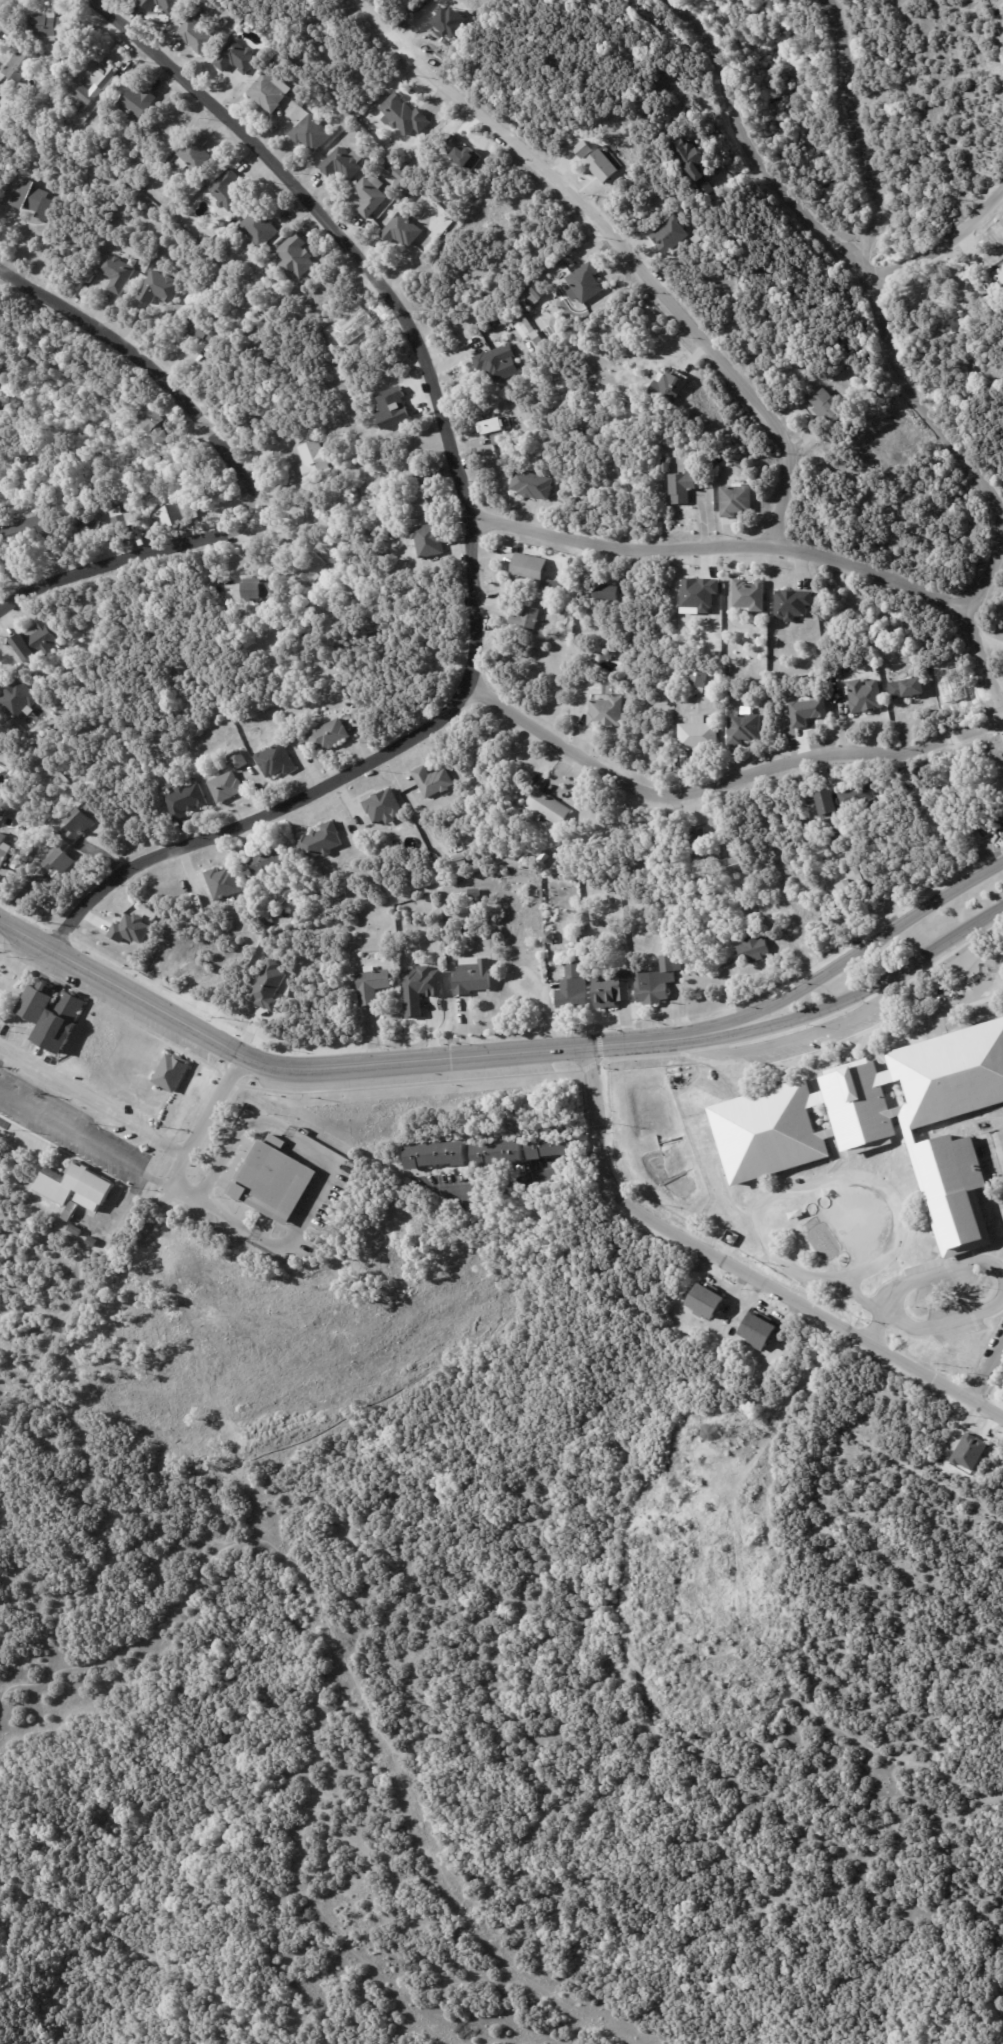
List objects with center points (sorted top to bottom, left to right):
building: (164, 4)
road: (3, 5)
building: (226, 21)
building: (51, 26)
building: (199, 35)
building: (240, 57)
building: (25, 63)
building: (59, 69)
building: (109, 83)
building: (683, 87)
building: (274, 92)
building: (3, 95)
building: (141, 101)
building: (407, 115)
building: (315, 133)
building: (583, 148)
road: (752, 148)
building: (198, 154)
building: (347, 163)
building: (692, 163)
building: (601, 165)
building: (401, 173)
building: (2, 179)
building: (231, 190)
building: (374, 195)
building: (32, 198)
building: (262, 228)
building: (407, 230)
building: (669, 234)
building: (205, 238)
road: (939, 244)
road: (624, 251)
building: (295, 255)
building: (117, 272)
building: (1000, 273)
building: (583, 283)
road: (9, 284)
building: (158, 287)
building: (534, 295)
building: (1002, 312)
road: (879, 319)
building: (527, 328)
building: (206, 329)
building: (512, 357)
building: (618, 364)
building: (491, 365)
building: (666, 387)
building: (825, 404)
building: (391, 407)
building: (156, 425)
building: (491, 430)
building: (317, 460)
building: (666, 463)
road: (259, 469)
building: (532, 485)
building: (683, 487)
road: (629, 491)
building: (575, 494)
building: (735, 500)
building: (422, 504)
road: (469, 514)
building: (179, 516)
building: (126, 521)
building: (31, 528)
building: (430, 541)
building: (300, 542)
road: (770, 545)
building: (310, 568)
building: (529, 570)
building: (553, 586)
building: (258, 590)
building: (604, 592)
building: (697, 594)
building: (749, 595)
building: (792, 605)
building: (525, 612)
building: (569, 630)
building: (7, 642)
building: (39, 642)
building: (606, 657)
building: (698, 681)
building: (905, 689)
building: (842, 694)
building: (864, 697)
building: (22, 700)
building: (806, 711)
building: (604, 713)
building: (742, 727)
building: (697, 734)
building: (333, 737)
building: (242, 760)
building: (278, 761)
road: (724, 780)
building: (431, 782)
building: (229, 788)
building: (844, 800)
building: (189, 801)
building: (382, 807)
building: (546, 808)
building: (992, 820)
building: (81, 825)
building: (319, 842)
building: (696, 842)
building: (5, 856)
building: (542, 859)
building: (65, 860)
building: (270, 866)
building: (729, 867)
building: (855, 883)
building: (227, 884)
building: (337, 908)
building: (270, 919)
building: (130, 928)
building: (548, 938)
road: (867, 944)
building: (752, 948)
road: (129, 978)
building: (470, 981)
building: (657, 981)
road: (873, 981)
building: (373, 986)
building: (419, 987)
building: (609, 989)
building: (572, 990)
building: (58, 1019)
road: (797, 1038)
road: (492, 1047)
building: (174, 1074)
road: (221, 1101)
road: (94, 1108)
building: (882, 1123)
road: (84, 1139)
building: (548, 1142)
building: (495, 1150)
road: (225, 1151)
building: (432, 1151)
road: (524, 1178)
building: (270, 1180)
road: (833, 1180)
building: (76, 1184)
building: (70, 1210)
building: (78, 1229)
road: (289, 1243)
building: (286, 1258)
road: (742, 1267)
road: (1002, 1285)
building: (706, 1300)
building: (757, 1330)
road: (989, 1373)
building: (1002, 1380)

